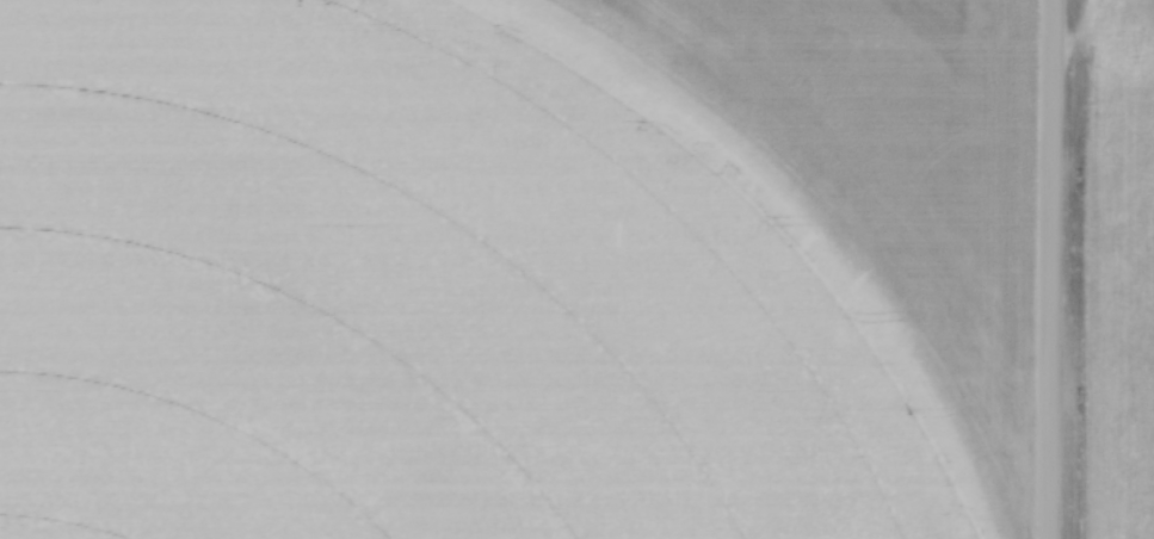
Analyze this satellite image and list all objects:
road: (1055, 269)

